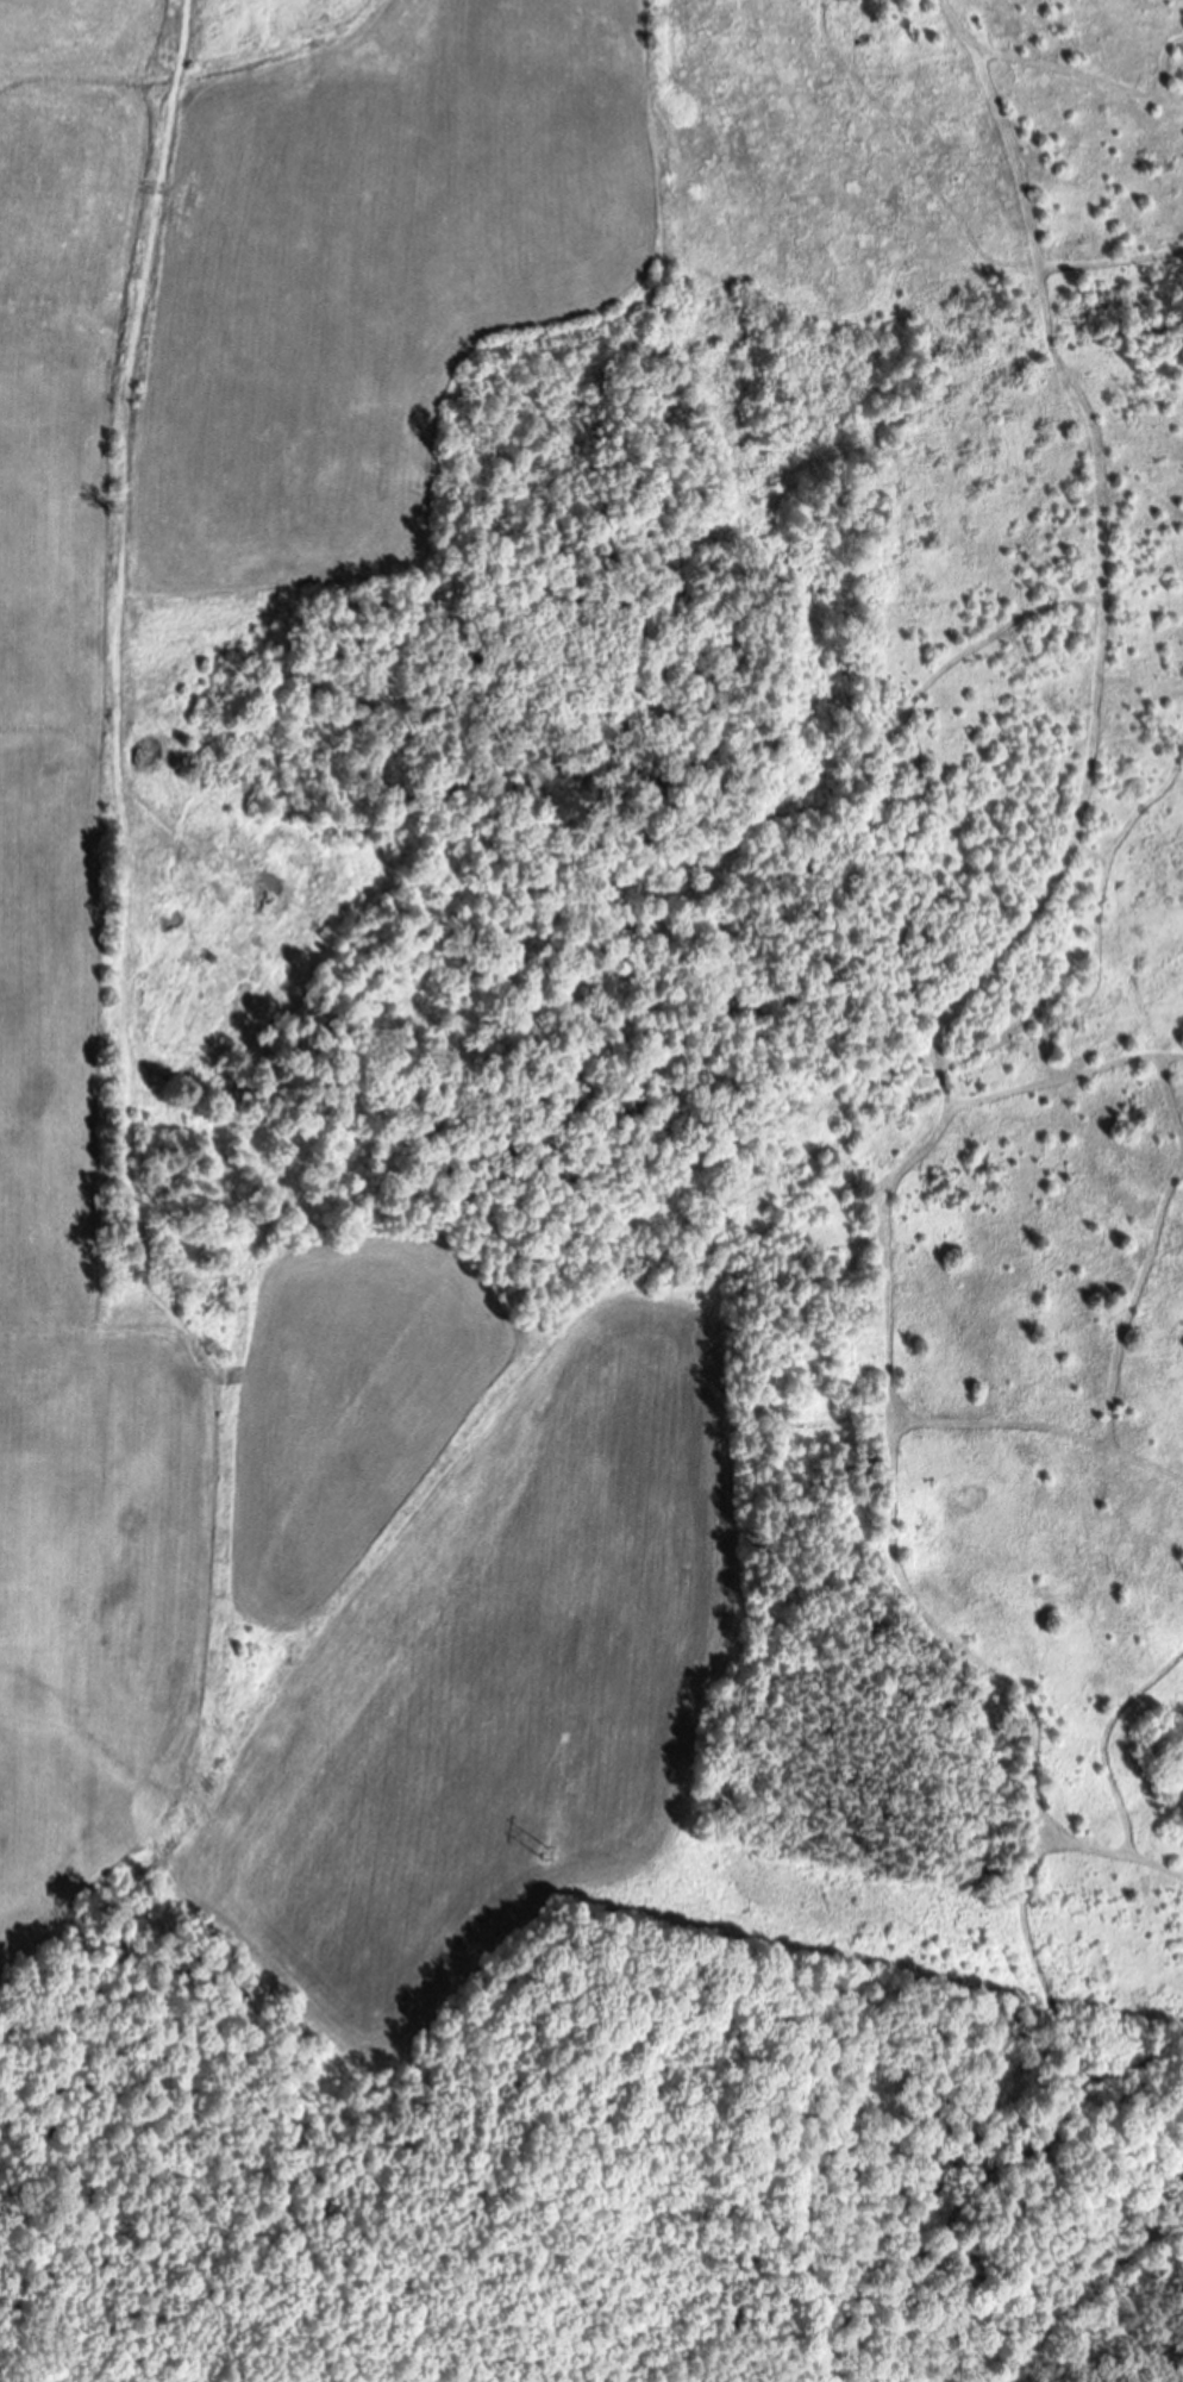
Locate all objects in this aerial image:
power tower: (550, 1856)

